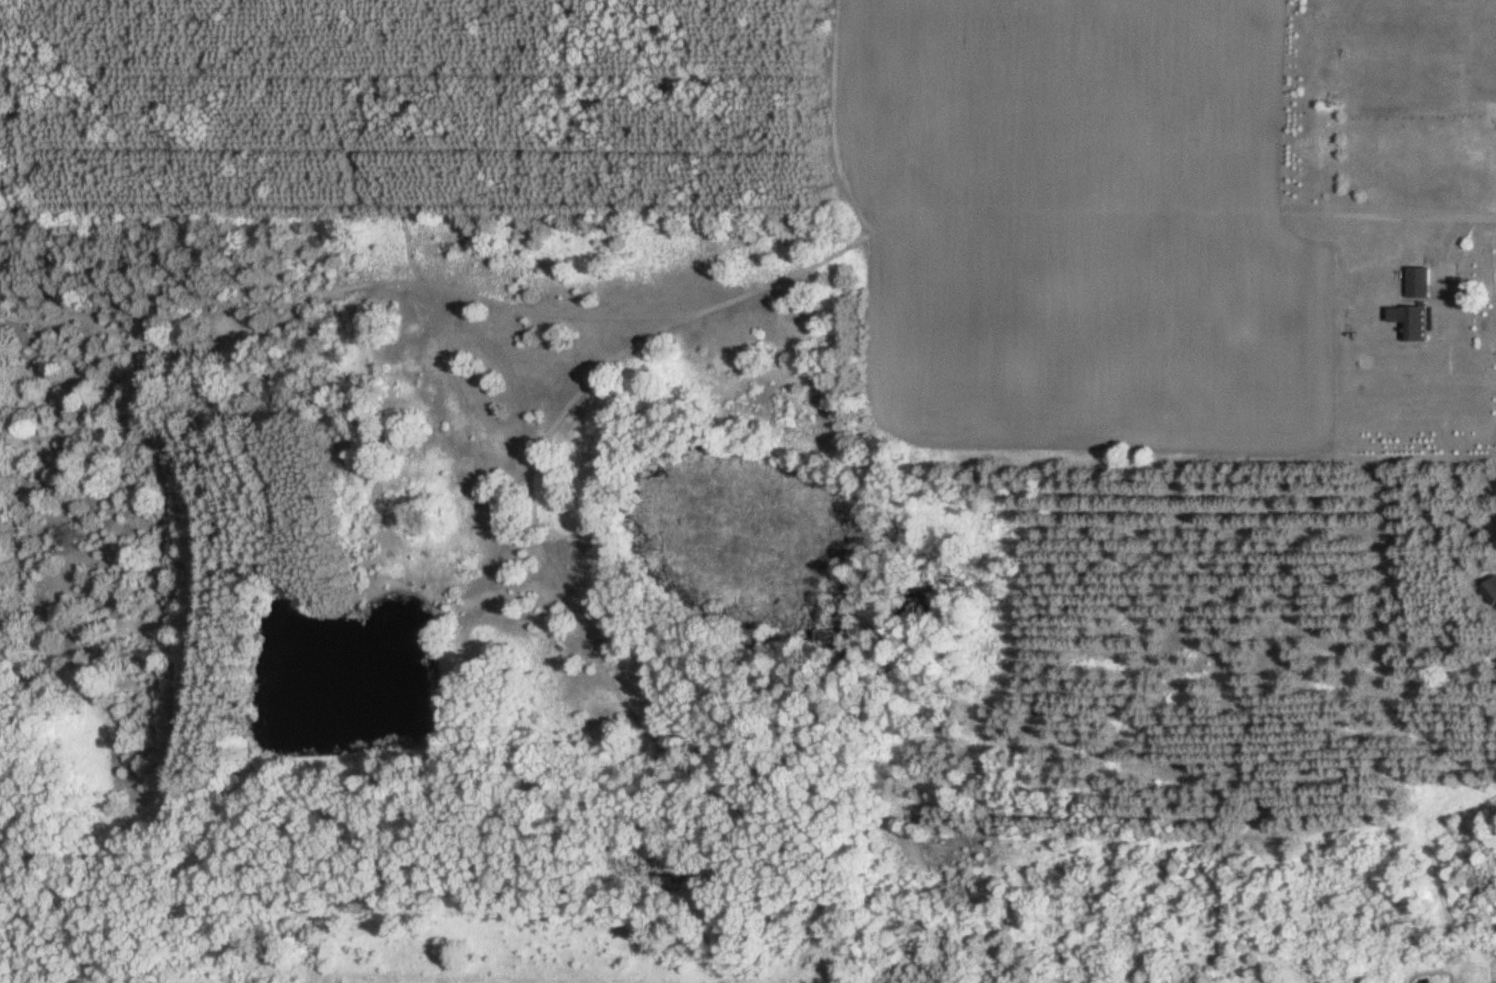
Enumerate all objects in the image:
building: (1421, 281)
building: (1412, 322)
road: (1319, 376)
building: (1491, 592)

